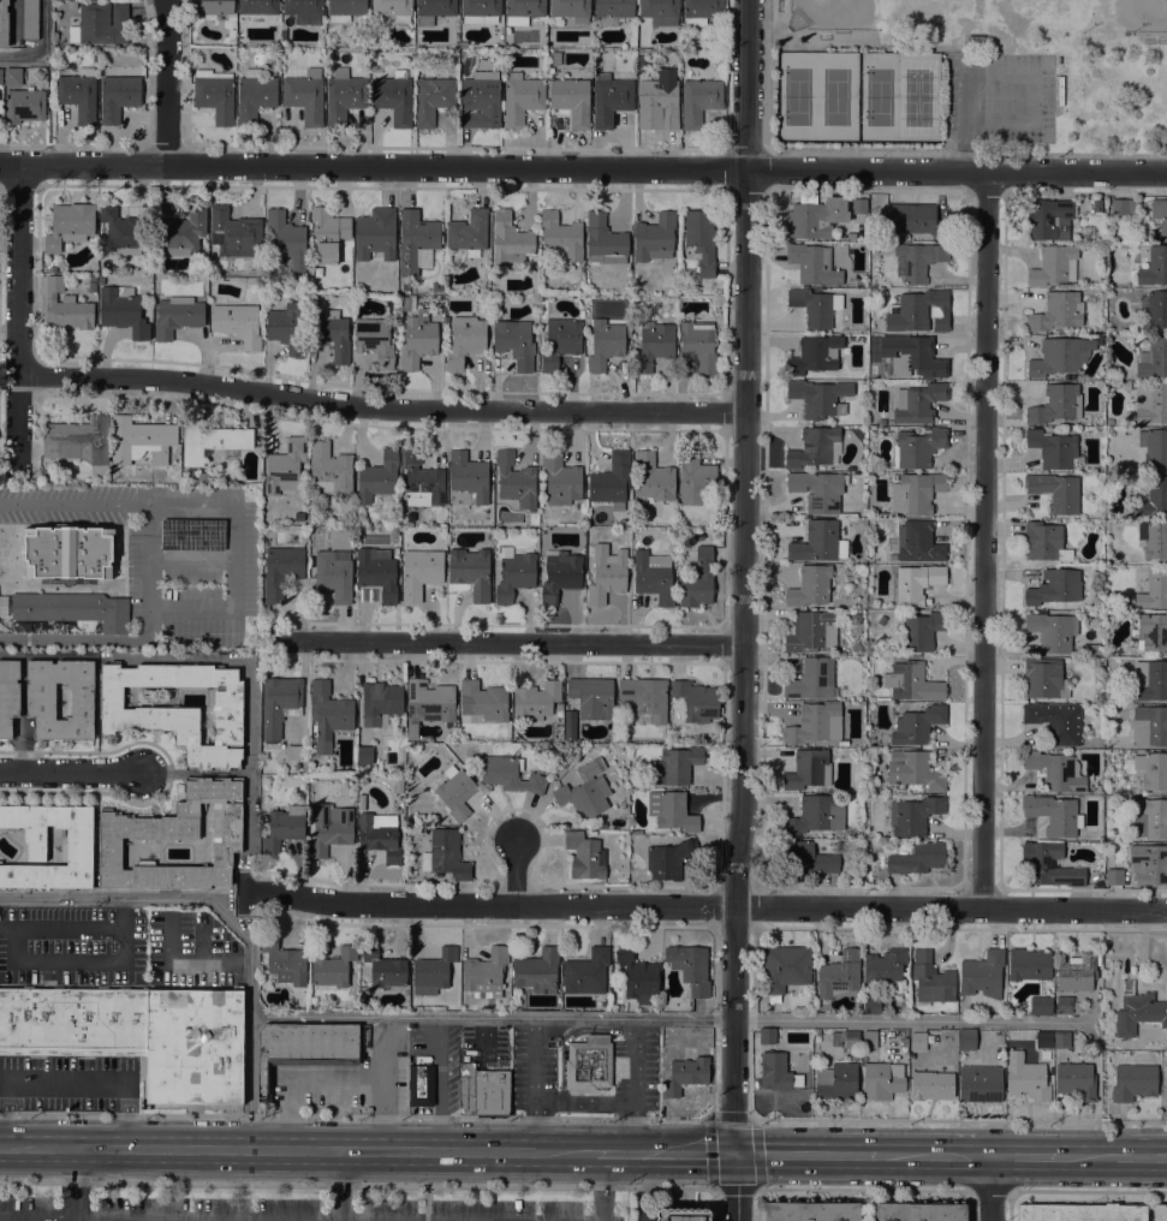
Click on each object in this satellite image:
building: (72, 4)
building: (214, 6)
building: (304, 8)
building: (345, 8)
building: (571, 8)
building: (660, 8)
building: (394, 10)
building: (434, 10)
building: (523, 10)
building: (613, 10)
building: (256, 11)
building: (481, 11)
building: (701, 11)
park: (964, 18)
building: (29, 19)
building: (4, 24)
building: (100, 24)
building: (975, 40)
road: (856, 44)
road: (43, 47)
building: (554, 58)
building: (38, 73)
park: (969, 75)
road: (1023, 75)
building: (1, 76)
building: (13, 76)
road: (169, 83)
building: (117, 93)
building: (78, 94)
building: (214, 95)
building: (255, 95)
building: (305, 95)
building: (344, 95)
park: (857, 95)
parking lot: (998, 96)
building: (393, 97)
building: (520, 97)
building: (433, 99)
building: (481, 99)
building: (609, 99)
building: (572, 100)
building: (659, 101)
building: (699, 101)
building: (24, 106)
road: (965, 154)
road: (583, 168)
building: (1097, 204)
building: (858, 206)
building: (1124, 207)
building: (1160, 214)
building: (815, 215)
building: (1048, 218)
building: (915, 220)
building: (70, 225)
building: (124, 231)
building: (181, 232)
building: (234, 233)
building: (328, 233)
building: (375, 233)
building: (468, 233)
building: (561, 236)
building: (654, 237)
building: (415, 238)
building: (510, 239)
building: (701, 239)
building: (603, 240)
building: (286, 243)
building: (917, 260)
building: (812, 263)
building: (1054, 264)
building: (1153, 264)
building: (93, 276)
building: (100, 281)
building: (91, 286)
building: (405, 286)
building: (406, 303)
building: (65, 306)
building: (816, 308)
building: (1154, 308)
building: (1056, 310)
building: (123, 311)
building: (919, 311)
building: (177, 316)
road: (20, 322)
building: (237, 323)
building: (286, 328)
building: (332, 334)
building: (376, 340)
building: (417, 340)
building: (465, 341)
building: (514, 341)
building: (559, 341)
building: (606, 341)
building: (1090, 343)
building: (654, 344)
building: (698, 345)
building: (815, 355)
building: (912, 356)
building: (1055, 357)
building: (1153, 358)
building: (818, 397)
building: (918, 403)
building: (1150, 403)
building: (1056, 404)
road: (383, 411)
building: (138, 439)
building: (78, 440)
building: (210, 440)
building: (918, 446)
building: (1154, 446)
building: (812, 447)
building: (1053, 448)
building: (286, 466)
building: (331, 469)
building: (469, 476)
building: (204, 477)
building: (379, 477)
building: (560, 478)
building: (612, 480)
building: (651, 480)
building: (693, 480)
building: (422, 481)
building: (514, 481)
building: (818, 489)
building: (1055, 492)
building: (915, 493)
building: (1154, 498)
road: (75, 504)
building: (1154, 538)
building: (917, 541)
road: (988, 541)
building: (818, 542)
building: (1046, 542)
building: (67, 552)
building: (892, 555)
road: (234, 556)
road: (148, 559)
building: (853, 566)
building: (281, 571)
building: (471, 571)
building: (377, 572)
building: (419, 572)
building: (514, 573)
building: (607, 573)
building: (560, 574)
building: (333, 576)
building: (653, 577)
building: (698, 580)
building: (916, 583)
building: (811, 585)
building: (1055, 586)
building: (1154, 590)
building: (73, 608)
road: (746, 610)
building: (811, 631)
building: (919, 631)
building: (1052, 631)
building: (1153, 631)
road: (83, 638)
road: (506, 644)
building: (856, 645)
building: (1091, 648)
building: (1044, 678)
building: (811, 679)
building: (1150, 680)
building: (912, 683)
building: (8, 696)
building: (593, 696)
building: (644, 697)
building: (429, 701)
building: (484, 701)
building: (535, 701)
building: (696, 701)
building: (41, 702)
building: (380, 703)
building: (279, 705)
building: (178, 709)
building: (328, 714)
building: (1055, 721)
building: (815, 722)
building: (917, 725)
building: (1149, 726)
building: (568, 727)
building: (412, 731)
building: (292, 751)
building: (415, 752)
building: (364, 755)
building: (677, 764)
building: (809, 769)
building: (1151, 769)
building: (912, 770)
building: (1056, 770)
road: (70, 772)
building: (510, 774)
building: (311, 778)
building: (363, 780)
building: (398, 784)
building: (585, 791)
building: (456, 792)
building: (1121, 799)
building: (359, 800)
building: (671, 810)
building: (1054, 814)
building: (815, 815)
building: (913, 815)
building: (1150, 817)
building: (602, 824)
building: (284, 827)
building: (331, 828)
building: (177, 838)
building: (379, 838)
building: (79, 851)
building: (445, 854)
building: (585, 856)
building: (808, 856)
building: (917, 858)
building: (668, 859)
building: (1148, 864)
building: (1049, 865)
road: (514, 874)
building: (1114, 876)
road: (703, 909)
road: (69, 928)
building: (285, 961)
road: (82, 964)
building: (1029, 964)
building: (383, 967)
building: (690, 967)
building: (333, 969)
building: (785, 969)
building: (885, 969)
building: (433, 971)
building: (537, 971)
building: (484, 972)
building: (587, 972)
building: (1077, 972)
building: (839, 973)
building: (982, 973)
building: (638, 976)
building: (931, 978)
building: (1126, 987)
building: (1097, 996)
building: (871, 1005)
building: (1040, 1005)
building: (1064, 1005)
building: (1077, 1005)
building: (1138, 1013)
road: (500, 1017)
building: (73, 1022)
building: (815, 1031)
building: (767, 1035)
building: (845, 1038)
building: (869, 1038)
building: (999, 1038)
building: (966, 1040)
building: (1044, 1040)
building: (1061, 1040)
building: (917, 1041)
building: (905, 1042)
building: (195, 1046)
building: (303, 1049)
building: (856, 1055)
road: (637, 1060)
building: (589, 1062)
building: (776, 1072)
building: (684, 1074)
building: (1026, 1077)
building: (882, 1080)
building: (1074, 1080)
building: (836, 1082)
building: (1133, 1082)
road: (67, 1083)
road: (250, 1083)
building: (981, 1083)
building: (421, 1085)
building: (931, 1085)
road: (531, 1086)
building: (483, 1091)
road: (611, 1101)
road: (355, 1115)
road: (710, 1119)
road: (960, 1120)
road: (298, 1151)
road: (666, 1154)
traffic signals: (736, 1154)
road: (806, 1155)
road: (934, 1156)
road: (1024, 1156)
road: (1113, 1156)
road: (76, 1184)
road: (357, 1184)
road: (340, 1185)
road: (602, 1186)
road: (864, 1189)
road: (990, 1189)
road: (989, 1191)
road: (1088, 1191)
parking lot: (288, 1209)
building: (811, 1211)
building: (917, 1211)
building: (1082, 1213)
building: (1160, 1213)
building: (681, 1215)
road: (169, 1219)
road: (76, 1220)

